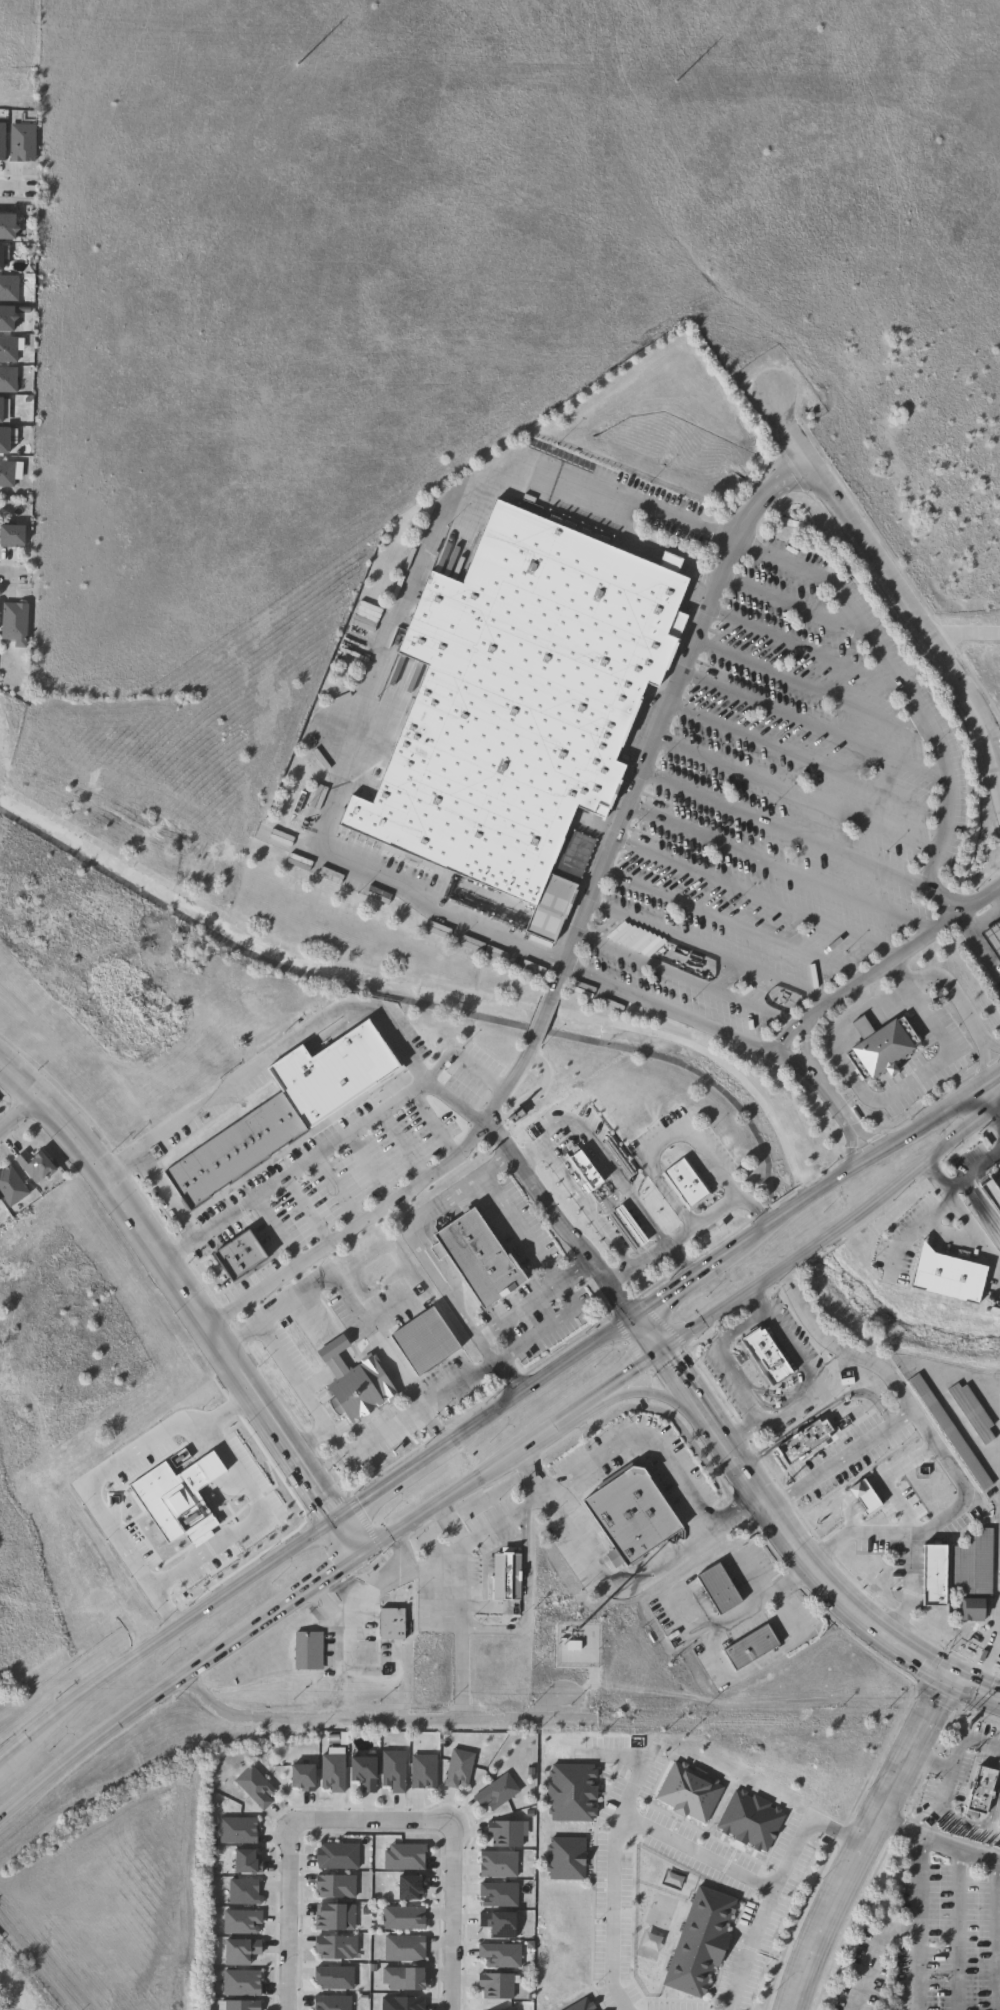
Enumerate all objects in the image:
power tower: (1, 55)
power tower: (305, 68)
power tower: (604, 81)
power tower: (909, 95)
building: (2, 141)
building: (22, 143)
road: (16, 190)
building: (6, 227)
building: (8, 289)
building: (6, 319)
building: (7, 350)
building: (7, 380)
building: (3, 442)
building: (6, 475)
parking lot: (666, 499)
road: (430, 529)
building: (11, 537)
road: (14, 574)
road: (892, 585)
road: (791, 603)
building: (13, 622)
road: (980, 632)
road: (945, 635)
road: (802, 647)
road: (896, 678)
road: (813, 687)
building: (521, 703)
road: (659, 714)
road: (811, 723)
road: (805, 759)
road: (794, 792)
parking lot: (311, 807)
parking lot: (781, 807)
road: (799, 837)
parking lot: (400, 867)
road: (777, 867)
parking lot: (336, 877)
road: (996, 894)
road: (754, 895)
road: (731, 923)
building: (993, 937)
parking lot: (484, 948)
road: (977, 948)
road: (708, 950)
road: (562, 964)
road: (878, 967)
road: (686, 979)
parking lot: (596, 994)
road: (539, 1018)
road: (299, 1034)
road: (990, 1042)
building: (879, 1046)
parking lot: (945, 1059)
road: (459, 1061)
road: (980, 1073)
road: (912, 1078)
road: (989, 1099)
road: (18, 1108)
building: (283, 1114)
road: (989, 1117)
road: (948, 1132)
road: (860, 1134)
road: (846, 1140)
road: (533, 1155)
road: (496, 1161)
building: (34, 1166)
road: (295, 1170)
road: (971, 1171)
road: (930, 1175)
building: (686, 1184)
building: (11, 1187)
road: (802, 1191)
road: (161, 1192)
road: (624, 1192)
building: (603, 1196)
road: (946, 1197)
road: (391, 1202)
road: (714, 1210)
road: (557, 1217)
road: (520, 1227)
road: (910, 1230)
road: (974, 1234)
road: (414, 1239)
road: (945, 1243)
road: (793, 1252)
building: (241, 1256)
building: (477, 1260)
road: (617, 1274)
building: (944, 1276)
road: (190, 1295)
road: (754, 1297)
road: (533, 1298)
road: (348, 1305)
traffic signals: (642, 1308)
road: (652, 1324)
road: (738, 1327)
traffic signals: (663, 1341)
building: (425, 1342)
road: (835, 1345)
road: (507, 1349)
building: (764, 1356)
road: (496, 1362)
road: (290, 1375)
building: (355, 1383)
road: (691, 1384)
road: (652, 1391)
road: (948, 1403)
road: (792, 1406)
road: (819, 1411)
building: (973, 1413)
road: (741, 1426)
building: (950, 1434)
road: (307, 1436)
road: (366, 1440)
building: (801, 1441)
road: (734, 1449)
road: (662, 1451)
road: (941, 1455)
road: (529, 1472)
road: (100, 1475)
traffic signals: (334, 1511)
building: (631, 1513)
road: (492, 1523)
road: (251, 1524)
road: (314, 1524)
traffic signals: (357, 1550)
road: (401, 1562)
road: (430, 1563)
building: (973, 1565)
road: (326, 1571)
building: (506, 1575)
building: (929, 1576)
building: (719, 1588)
road: (761, 1592)
road: (524, 1596)
road: (854, 1606)
road: (351, 1608)
building: (974, 1609)
road: (996, 1621)
building: (391, 1623)
building: (752, 1646)
building: (307, 1650)
building: (355, 1652)
traffic signals: (945, 1667)
road: (288, 1675)
road: (352, 1718)
road: (955, 1765)
building: (458, 1768)
building: (394, 1771)
building: (423, 1771)
building: (364, 1772)
building: (332, 1773)
building: (302, 1777)
building: (254, 1786)
building: (975, 1790)
building: (570, 1791)
road: (632, 1791)
building: (496, 1792)
building: (997, 1815)
road: (614, 1827)
building: (237, 1830)
building: (505, 1833)
road: (862, 1836)
road: (450, 1839)
road: (957, 1852)
building: (337, 1856)
building: (405, 1857)
building: (564, 1857)
building: (246, 1862)
building: (498, 1864)
building: (335, 1886)
building: (410, 1887)
road: (774, 1891)
building: (243, 1892)
building: (498, 1894)
road: (285, 1916)
building: (334, 1917)
building: (403, 1918)
road: (916, 1919)
building: (241, 1922)
building: (500, 1925)
road: (954, 1930)
road: (988, 1935)
building: (699, 1940)
building: (335, 1947)
building: (403, 1949)
building: (240, 1951)
building: (500, 1955)
road: (916, 1969)
building: (334, 1978)
building: (403, 1979)
building: (241, 1983)
building: (497, 1985)
road: (16, 1989)
building: (332, 2003)
building: (402, 2004)
building: (242, 2005)
building: (511, 2009)

